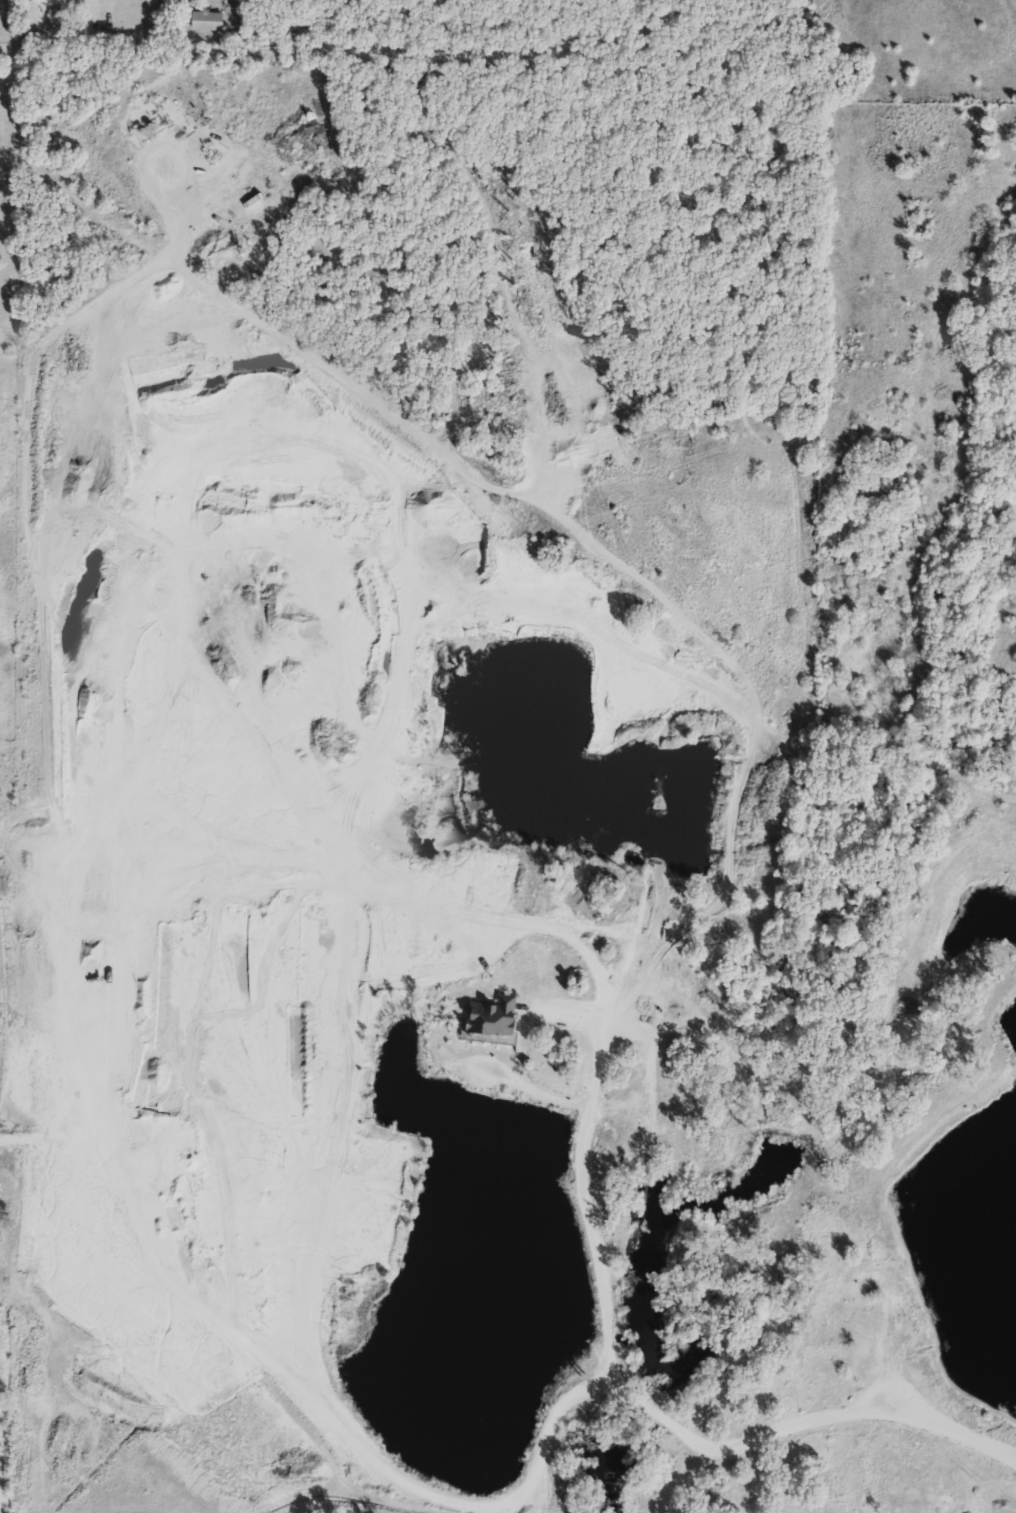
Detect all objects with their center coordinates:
road: (98, 2)
building: (62, 20)
building: (211, 23)
building: (34, 40)
building: (492, 1017)
road: (617, 1385)

